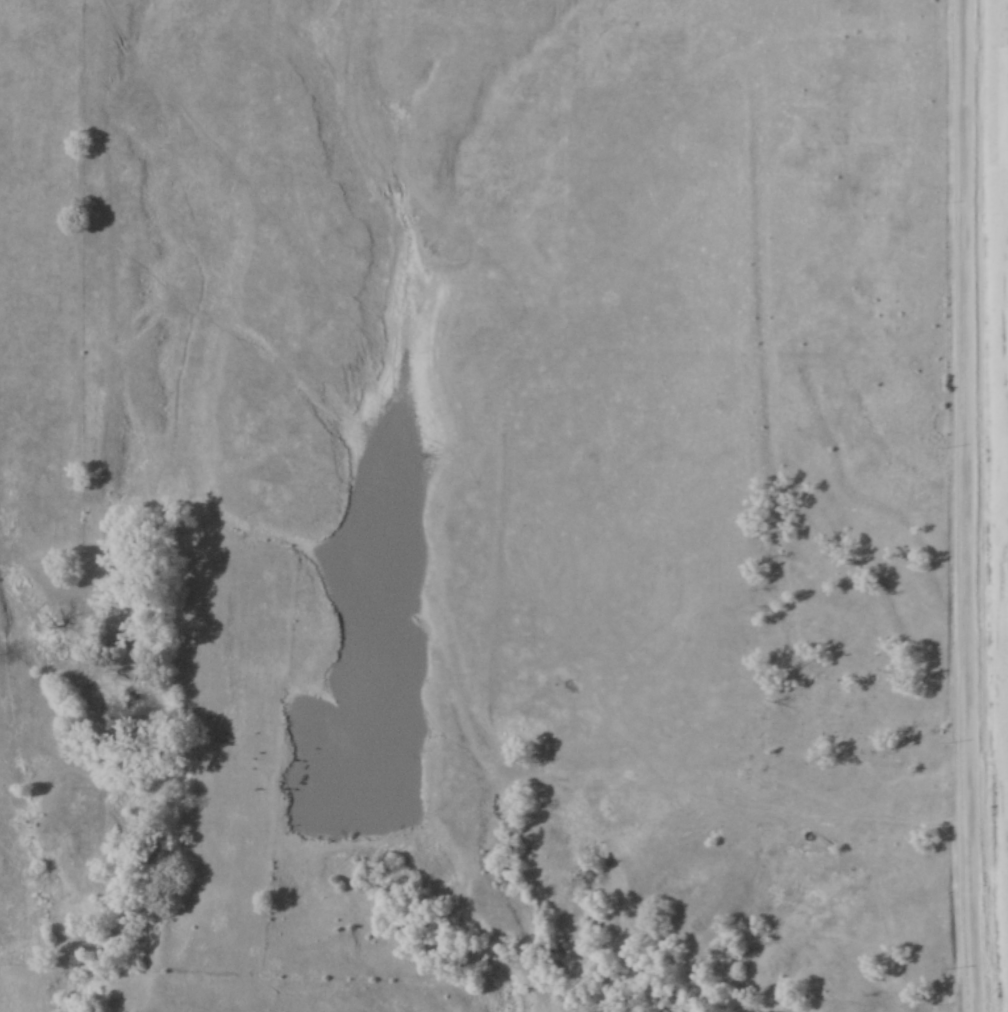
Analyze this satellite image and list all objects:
road: (966, 506)

